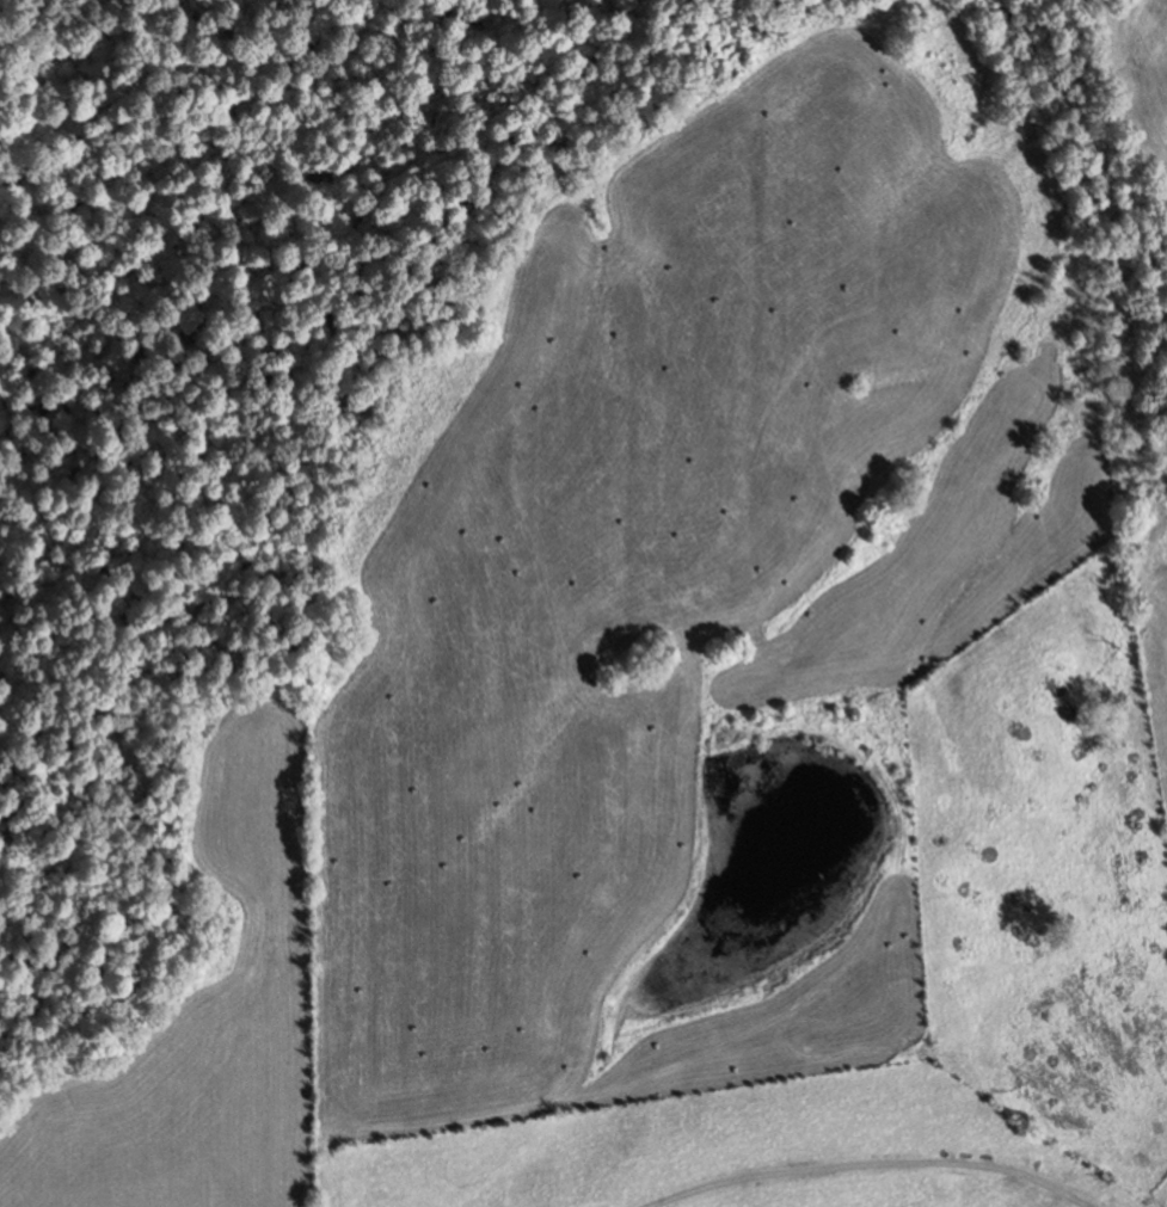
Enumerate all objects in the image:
road: (997, 590)

